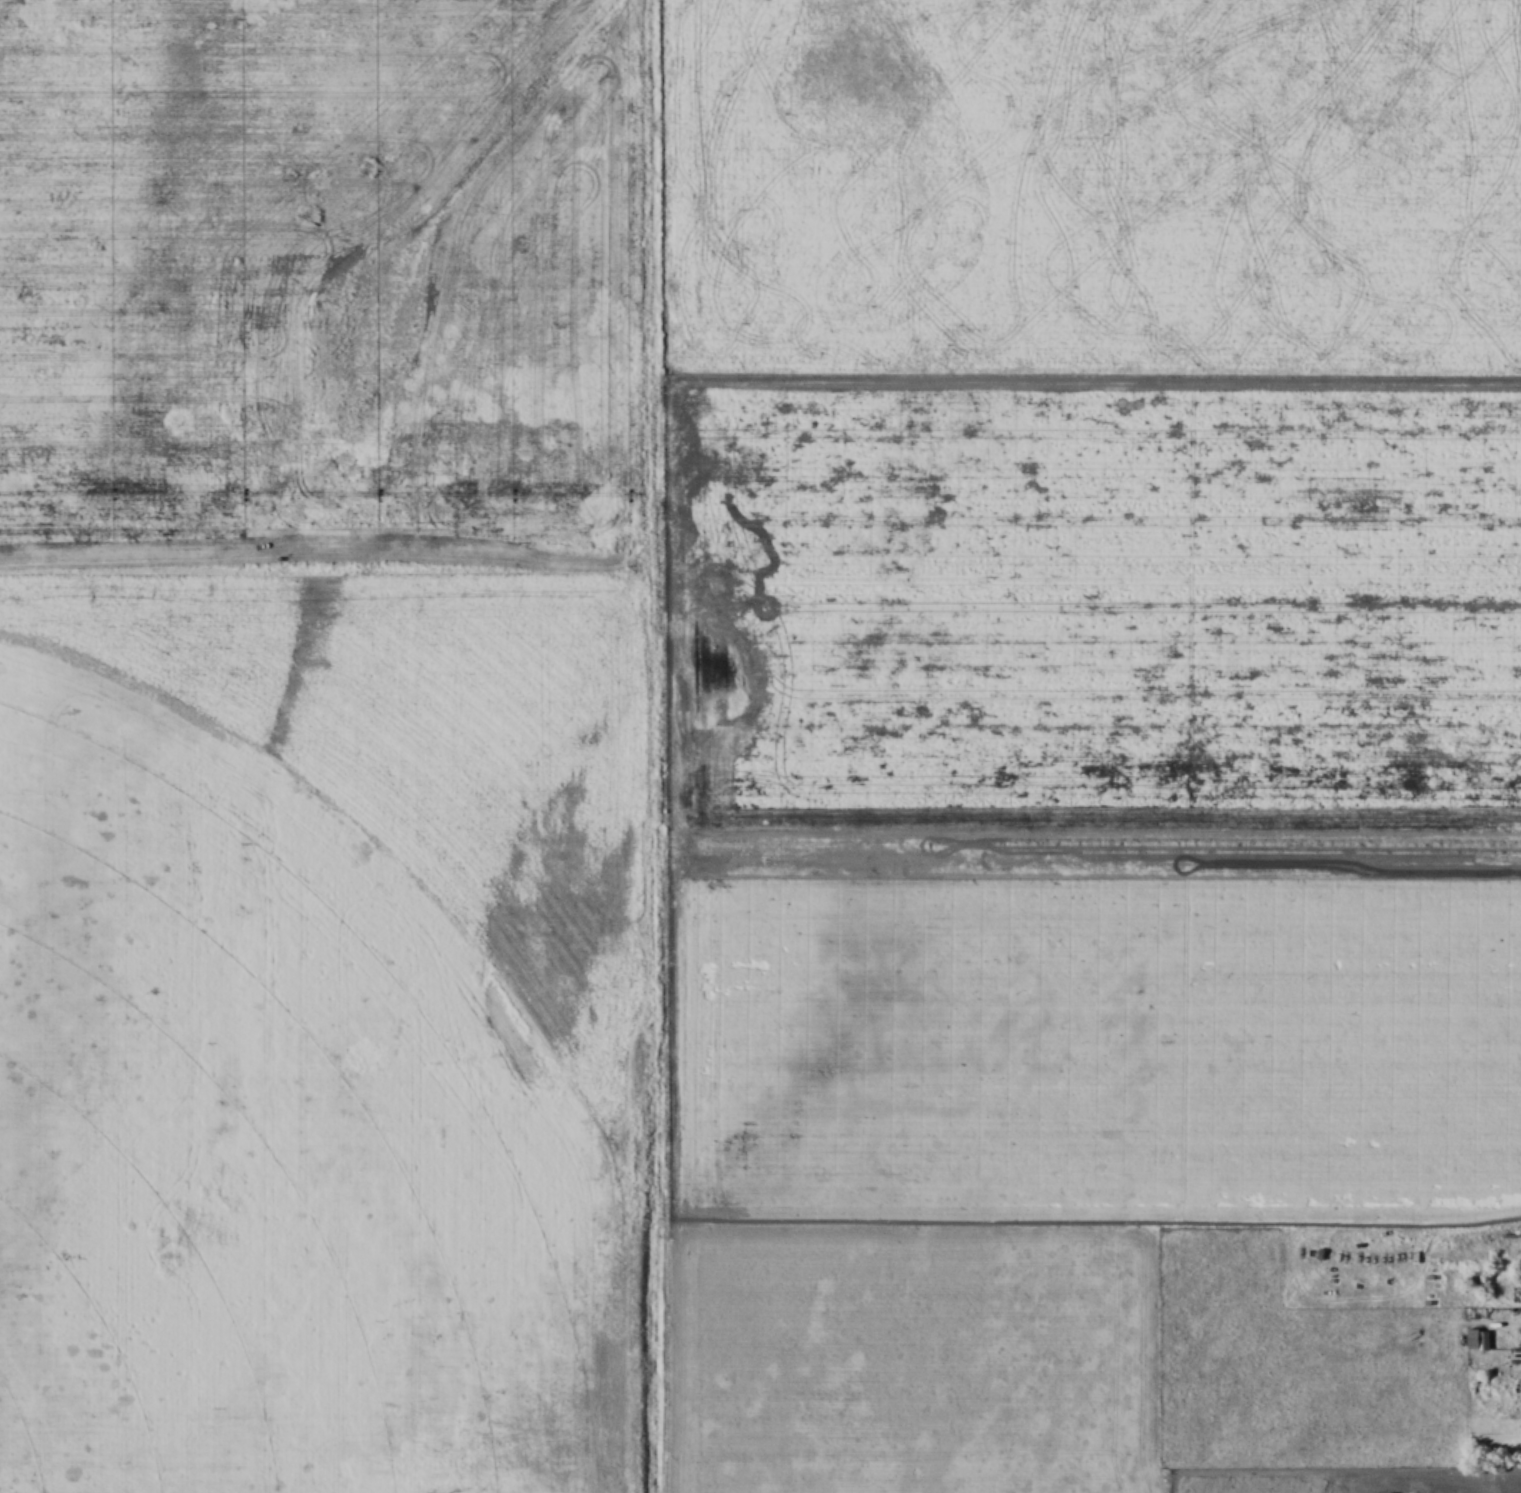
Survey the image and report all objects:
crop: (1105, 1026)
crop: (275, 1137)
building: (1480, 1338)
crop: (925, 1355)

